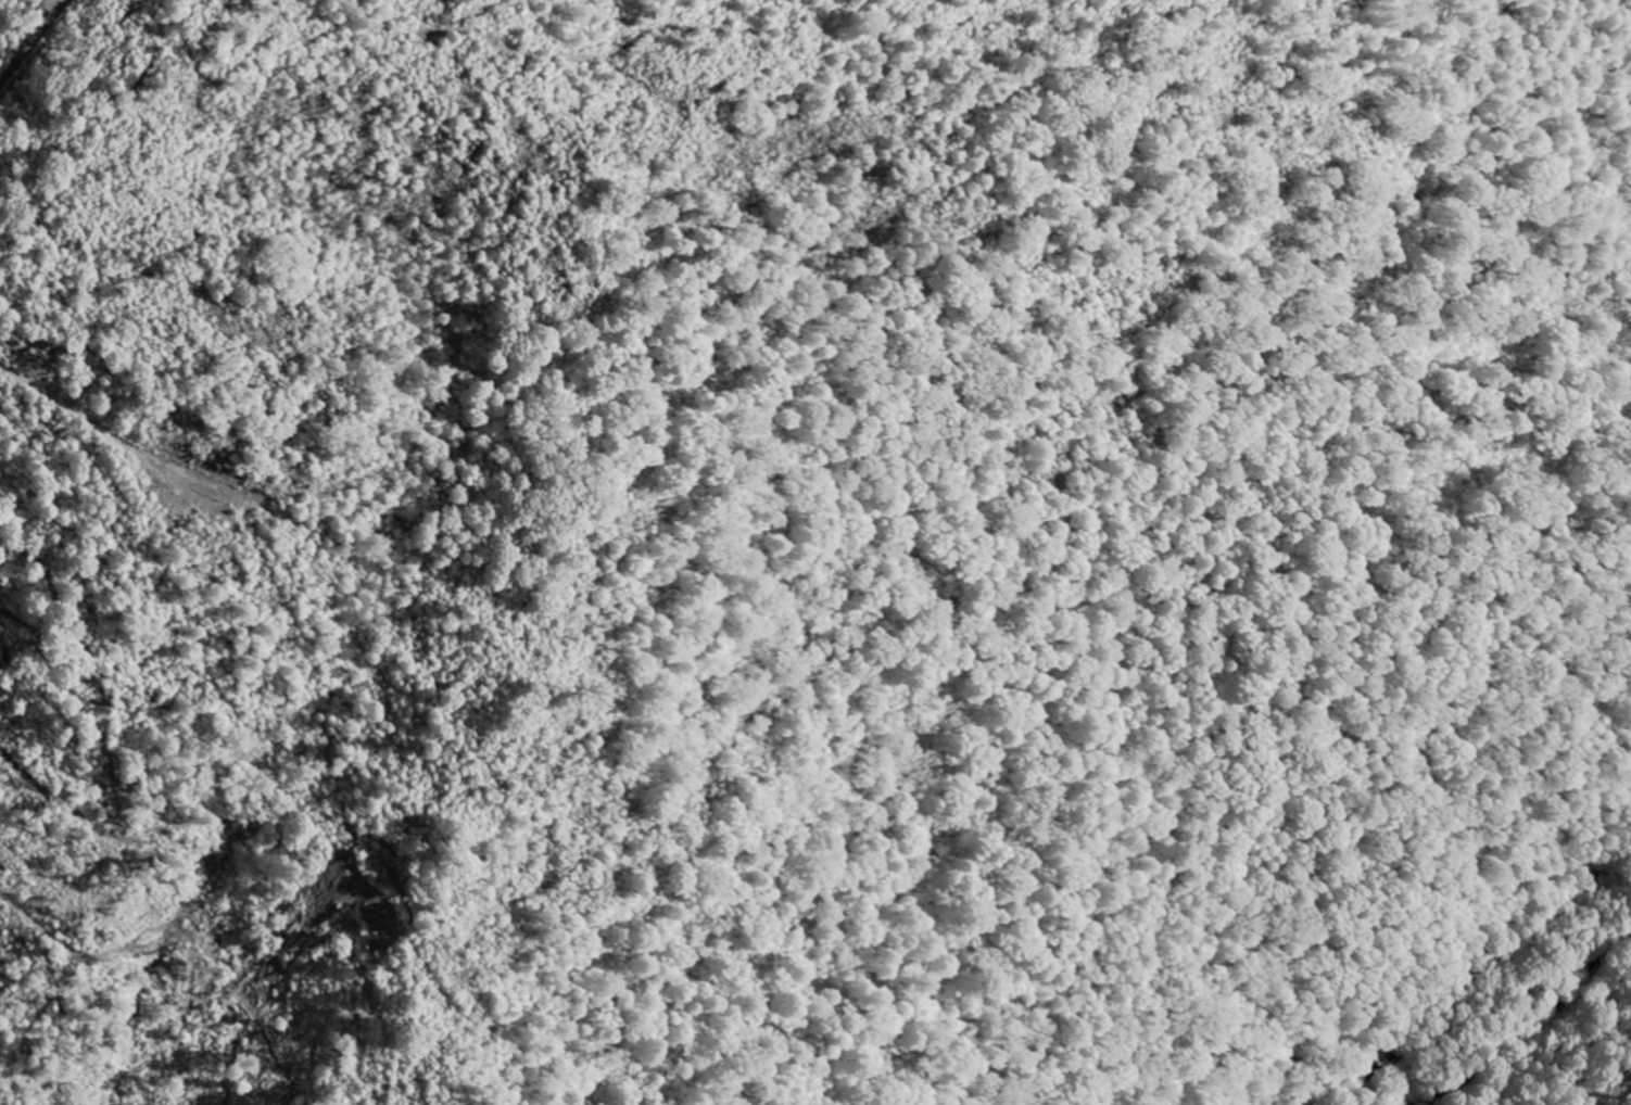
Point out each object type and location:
road: (1532, 1023)

